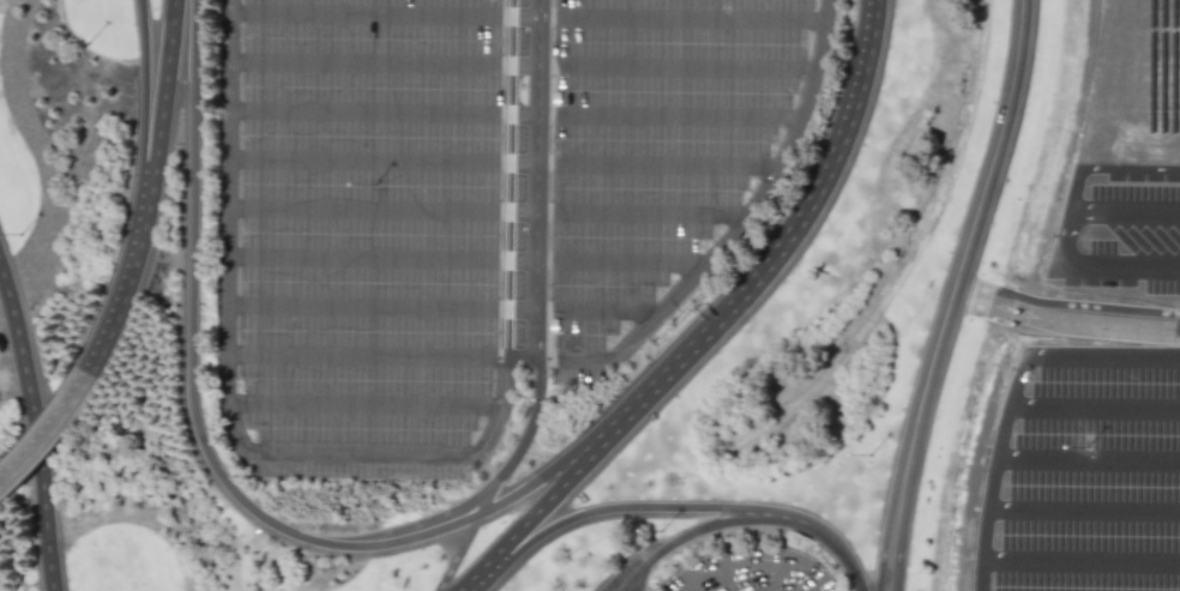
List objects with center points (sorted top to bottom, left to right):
road: (529, 18)
road: (524, 67)
road: (145, 92)
road: (162, 92)
road: (516, 115)
road: (1079, 138)
road: (502, 163)
road: (507, 173)
road: (1124, 175)
road: (513, 177)
road: (542, 179)
parking lot: (480, 206)
road: (490, 212)
road: (1118, 216)
road: (736, 231)
parking lot: (1103, 255)
road: (775, 257)
road: (466, 260)
road: (1108, 272)
road: (127, 283)
airport: (590, 295)
road: (952, 295)
road: (444, 308)
toll booth: (1011, 310)
road: (1064, 325)
road: (369, 356)
road: (192, 366)
road: (1092, 374)
road: (1000, 399)
road: (366, 406)
road: (230, 411)
road: (1086, 424)
road: (30, 432)
road: (48, 434)
road: (514, 457)
road: (1080, 472)
road: (513, 497)
road: (608, 512)
road: (536, 513)
parking lot: (1071, 520)
road: (1076, 520)
road: (970, 530)
road: (817, 531)
road: (468, 536)
road: (673, 541)
road: (751, 563)
road: (1072, 574)
road: (471, 578)

